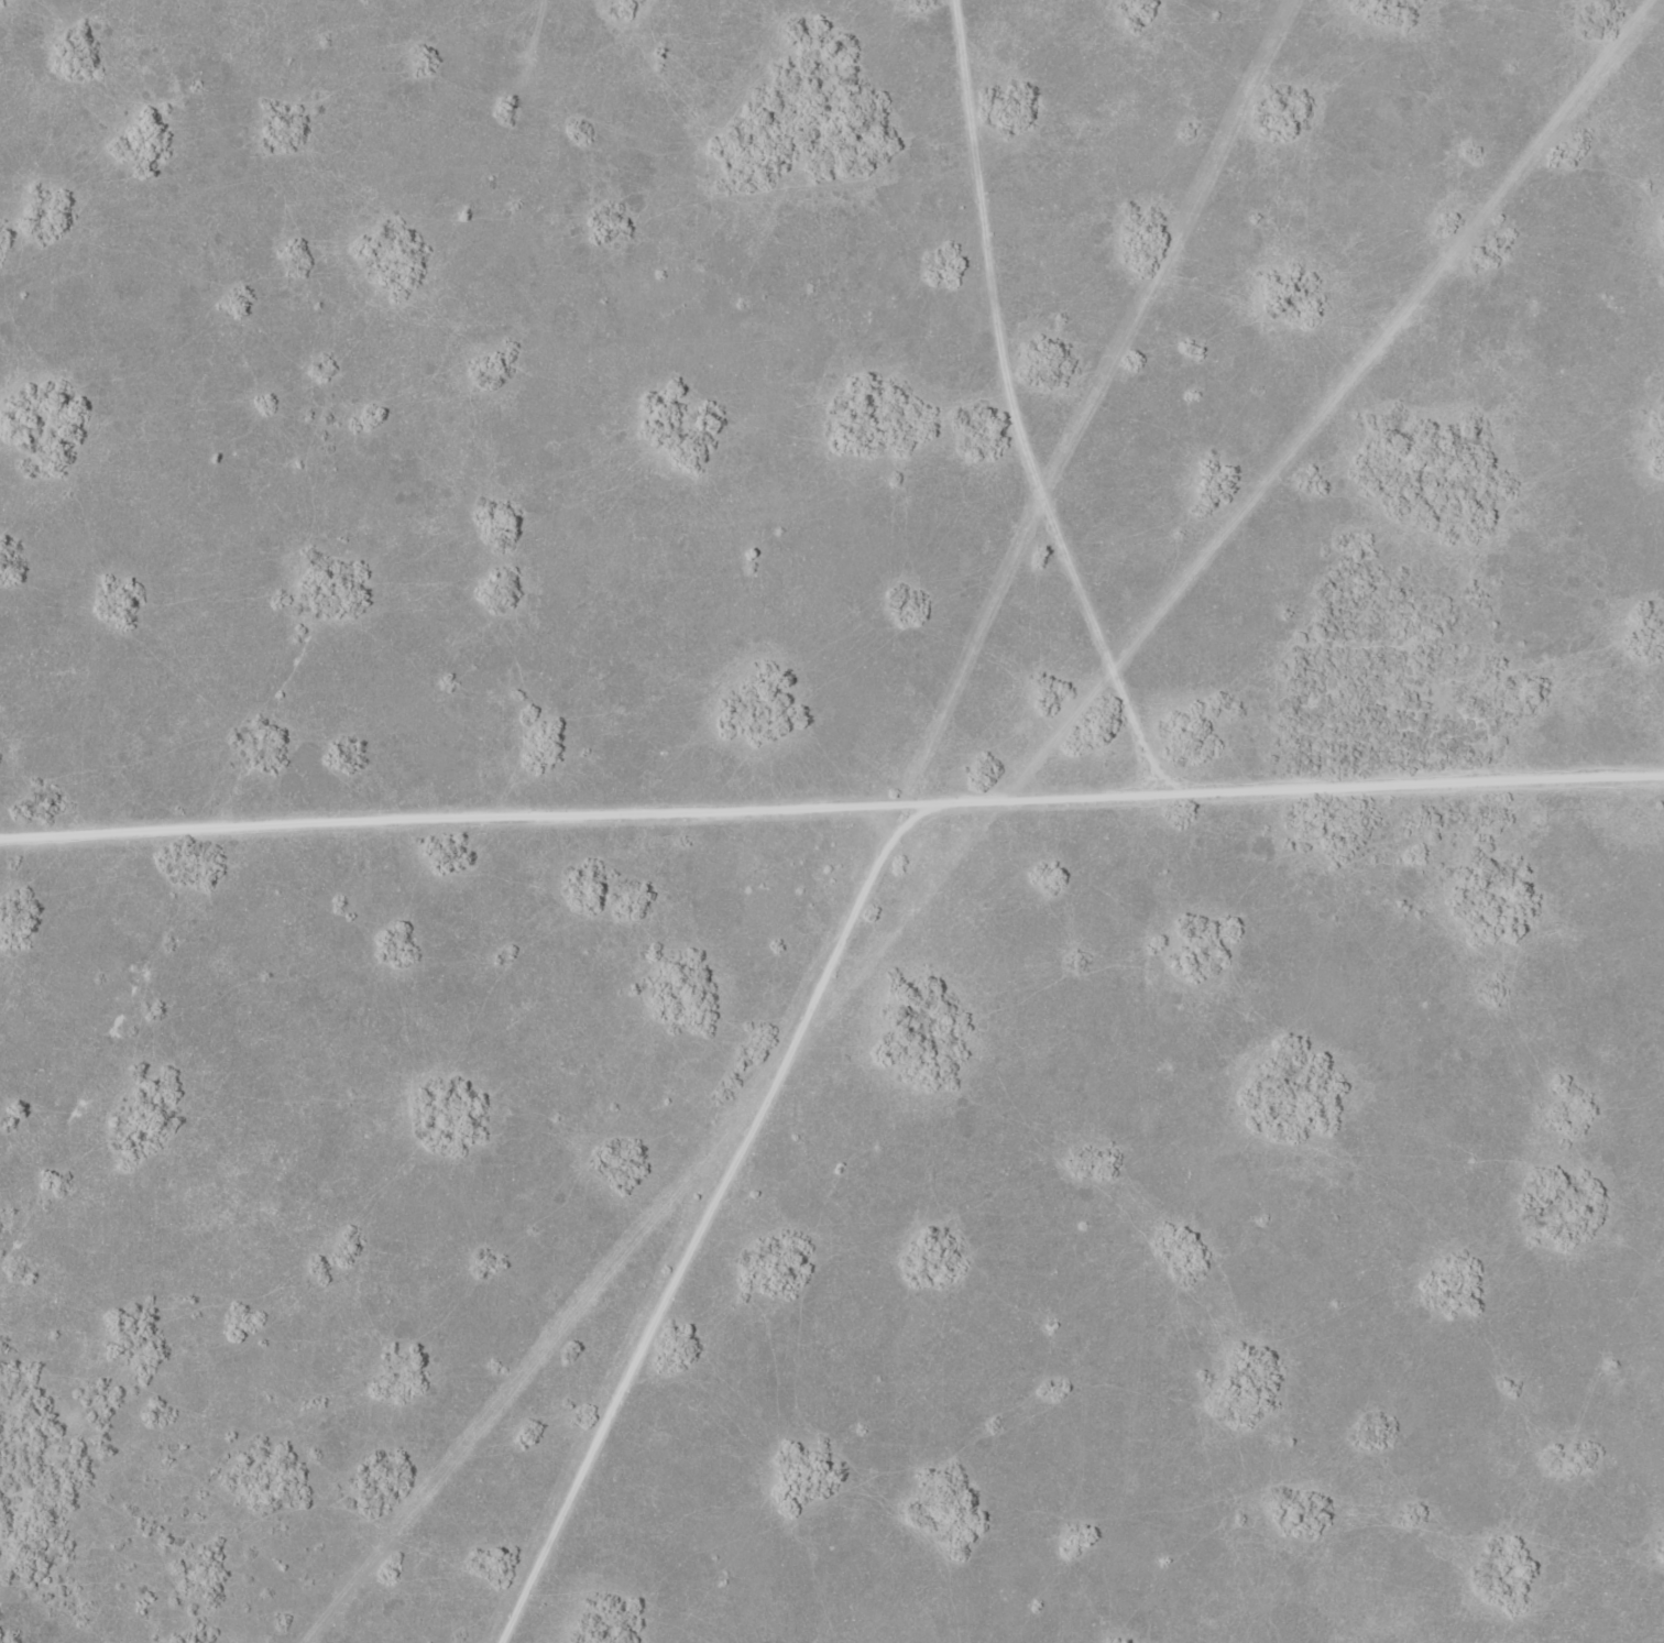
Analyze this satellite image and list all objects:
road: (832, 809)

